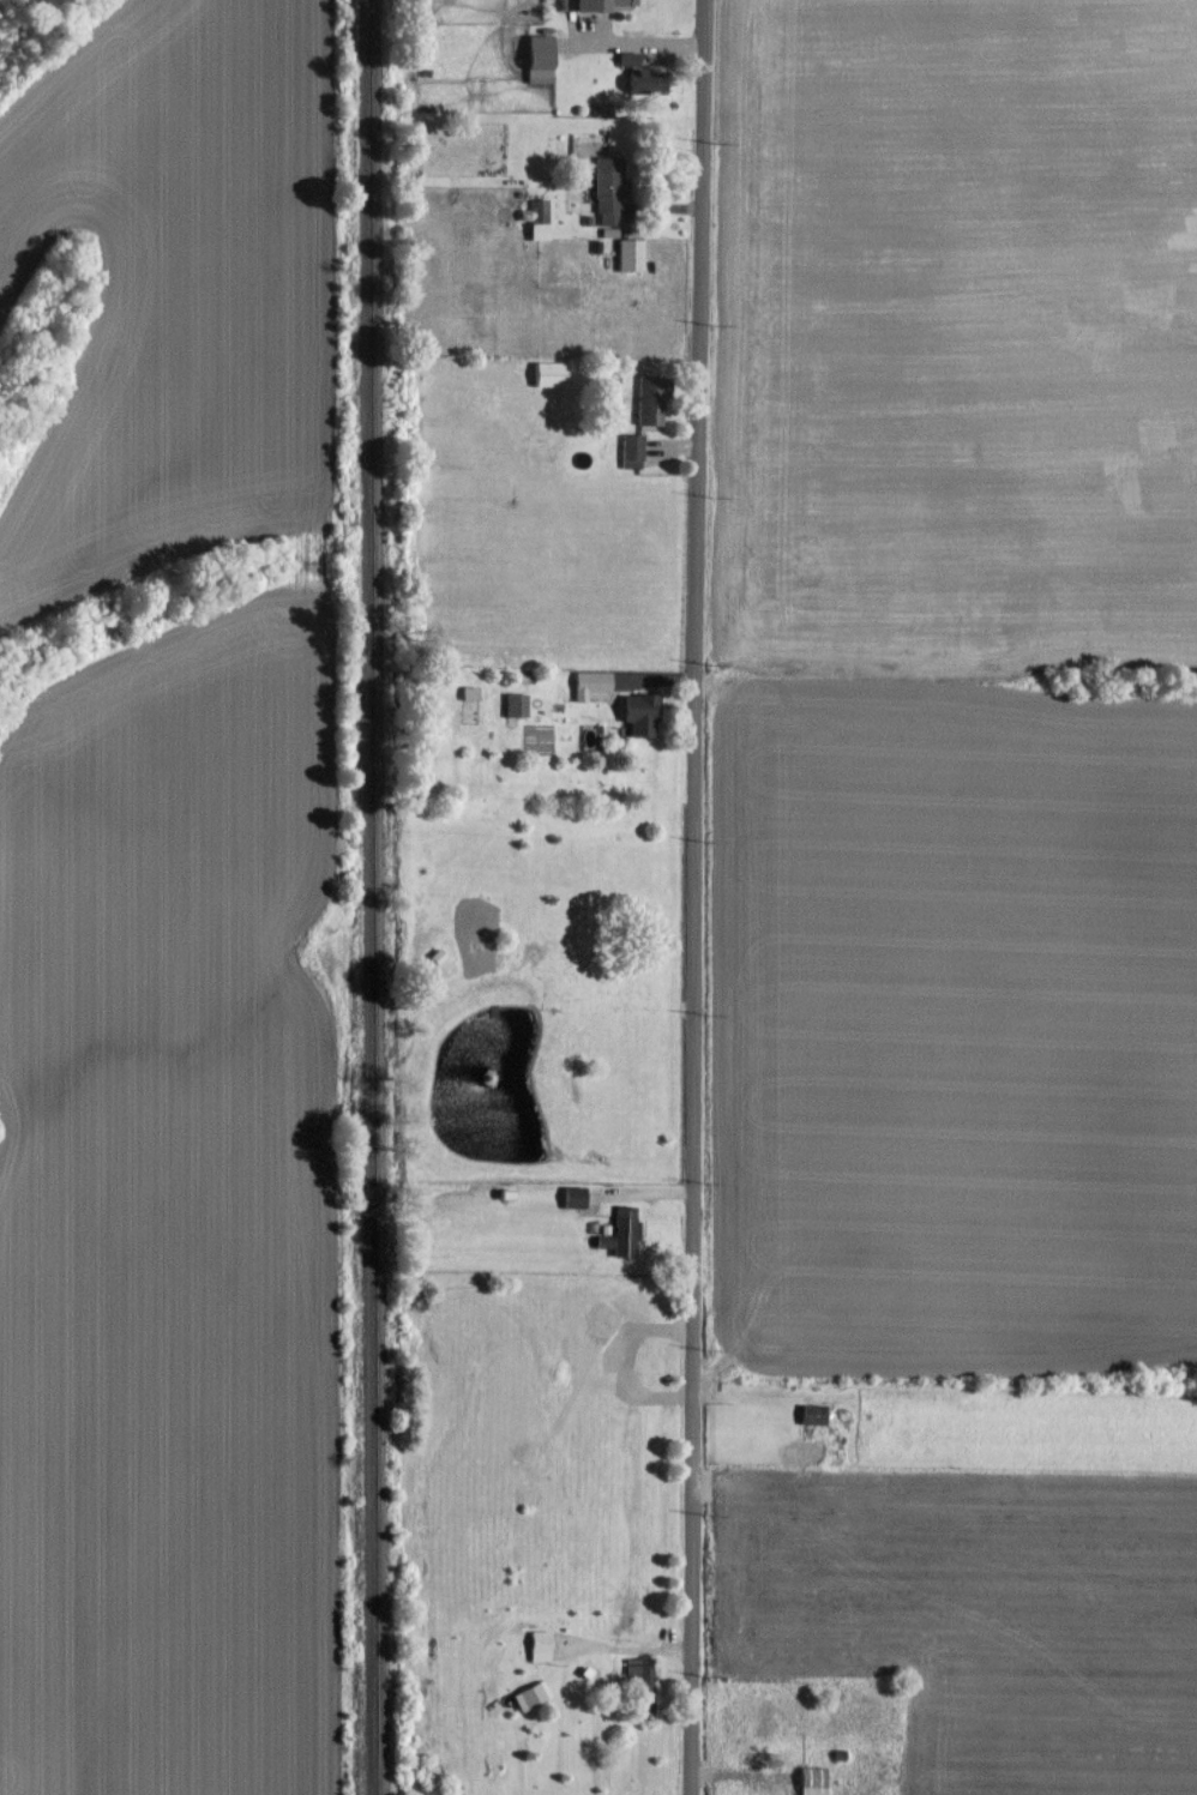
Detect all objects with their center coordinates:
building: (594, 4)
building: (537, 58)
building: (643, 80)
building: (535, 218)
building: (628, 253)
building: (548, 372)
building: (648, 398)
building: (631, 448)
building: (589, 682)
building: (468, 691)
building: (515, 704)
building: (639, 712)
railway: (374, 897)
road: (692, 897)
building: (572, 1195)
building: (624, 1213)
building: (811, 1412)
building: (539, 1645)
building: (530, 1694)
building: (811, 1779)

